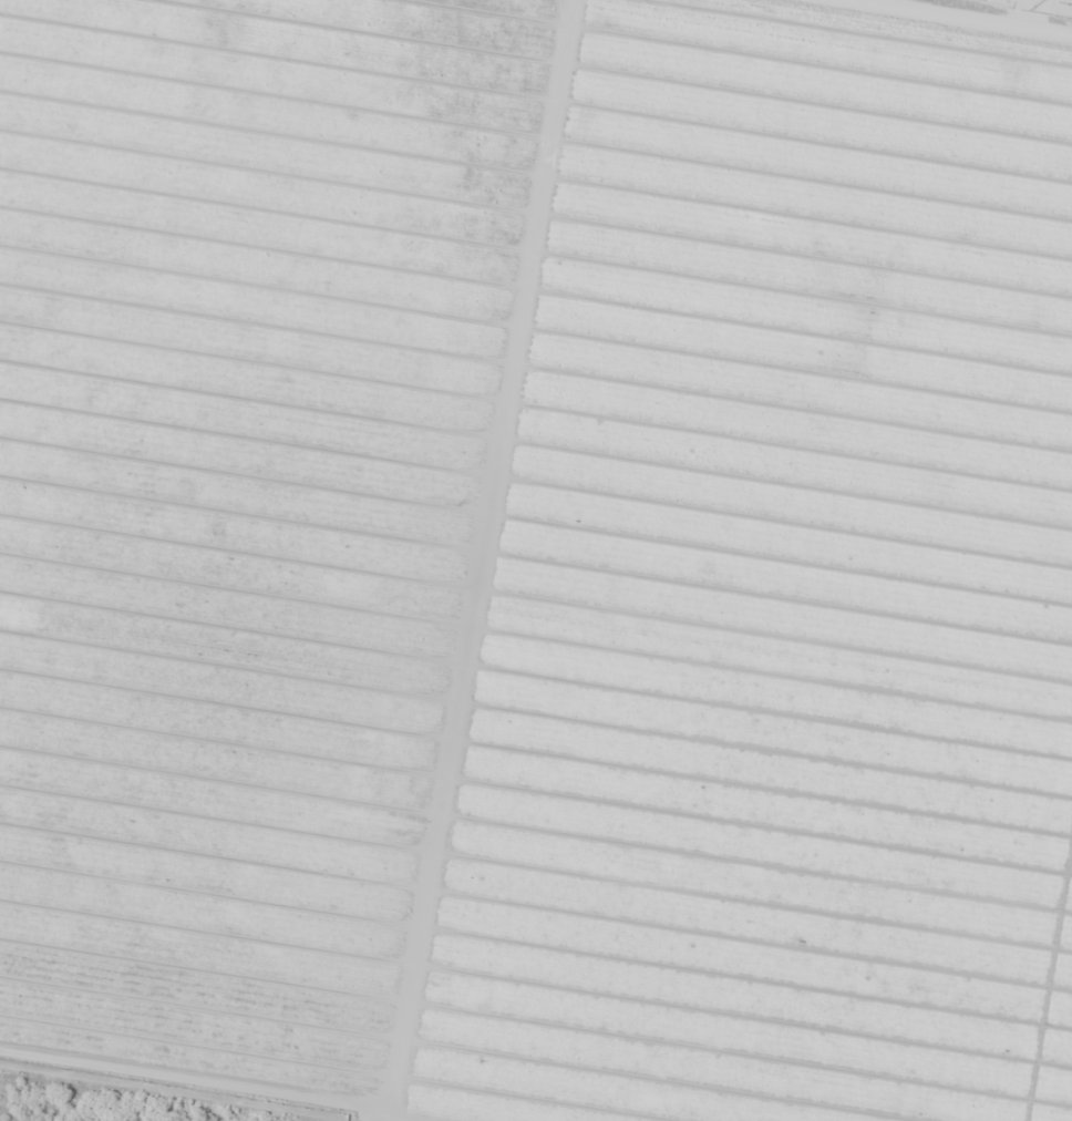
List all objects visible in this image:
road: (959, 18)

